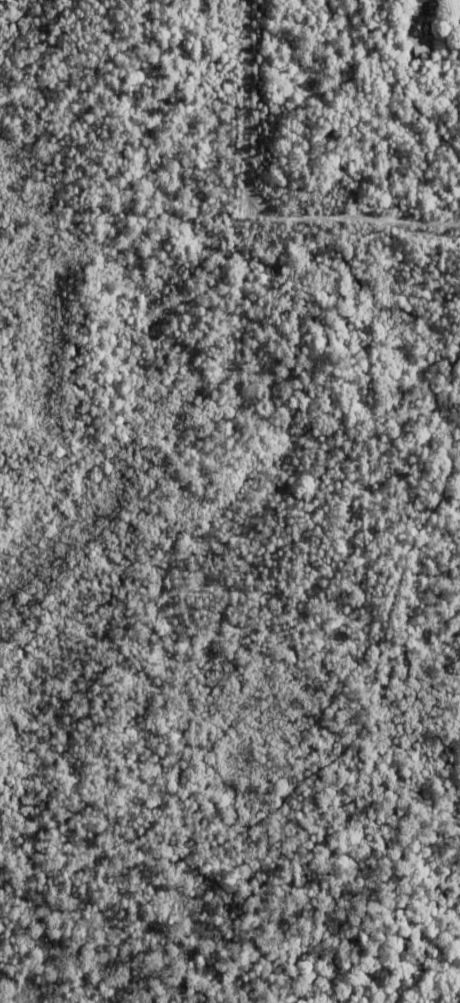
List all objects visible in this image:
building: (425, 8)
building: (421, 51)

